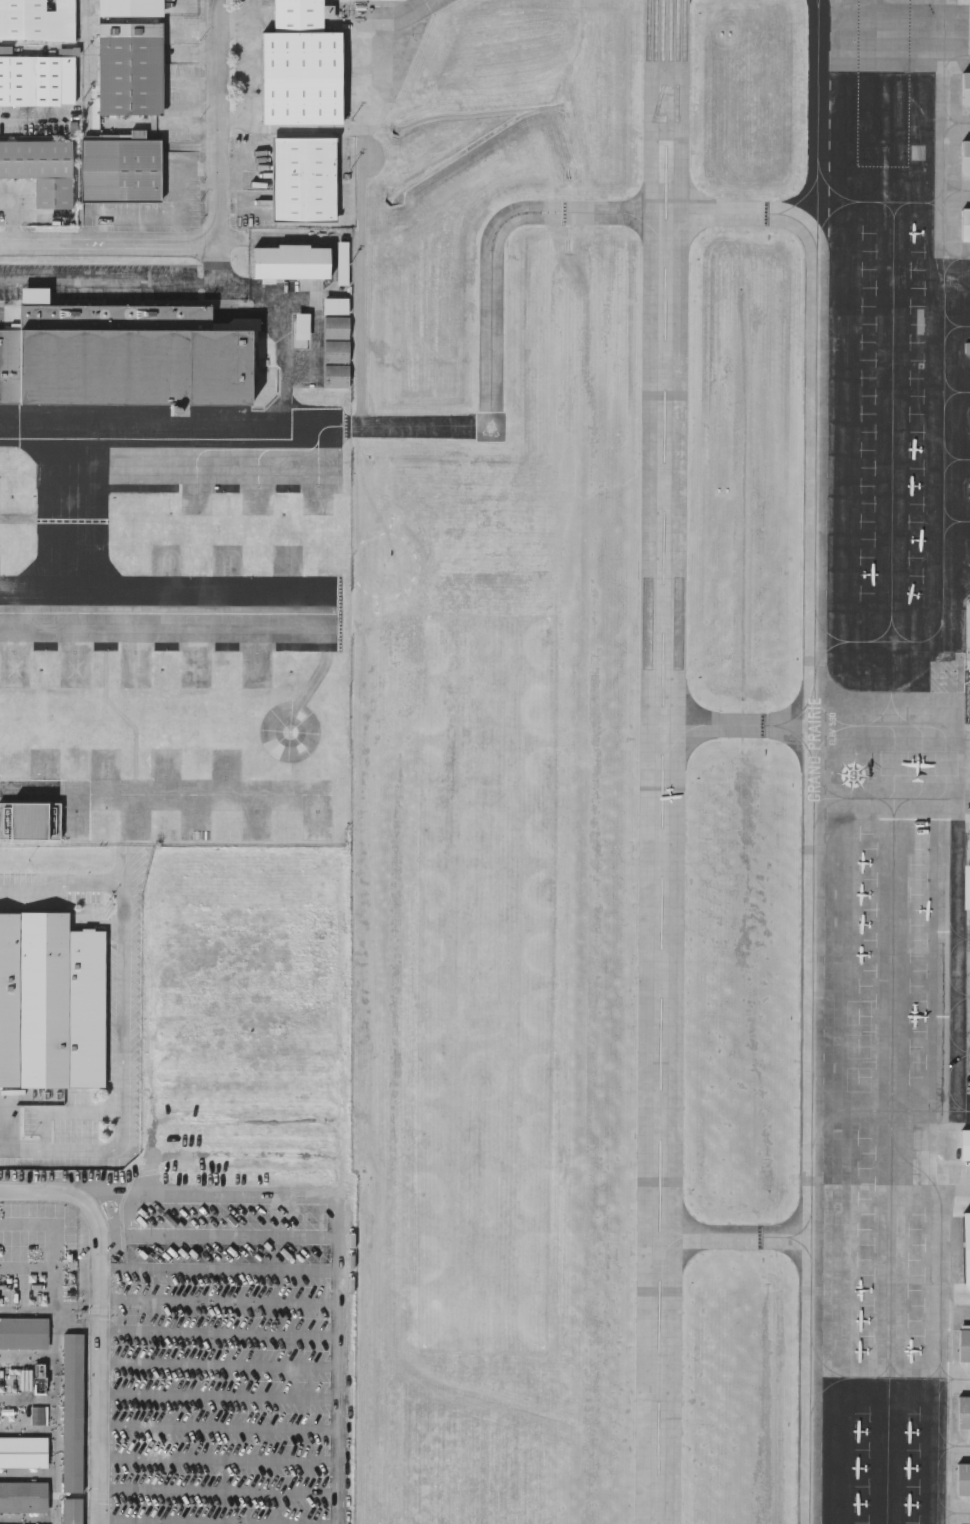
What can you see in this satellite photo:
building: (128, 7)
airport taxiway: (423, 12)
building: (299, 14)
building: (37, 18)
building: (128, 67)
building: (302, 75)
building: (37, 77)
building: (966, 87)
road: (32, 112)
road: (216, 122)
building: (965, 154)
building: (40, 168)
building: (121, 168)
building: (304, 176)
building: (965, 222)
road: (103, 244)
building: (291, 263)
parking lot: (100, 282)
road: (112, 284)
building: (334, 304)
road: (283, 311)
building: (334, 325)
building: (966, 345)
building: (334, 349)
building: (129, 358)
building: (334, 374)
airport taxiway: (456, 428)
building: (969, 622)
helipad: (80, 675)
airport taxiway: (735, 731)
helipad: (296, 743)
airport: (661, 762)
airport runway: (666, 762)
airport apron: (881, 772)
building: (29, 819)
building: (967, 875)
road: (94, 909)
building: (53, 1004)
road: (123, 1017)
road: (66, 1111)
building: (952, 1144)
road: (340, 1230)
airport taxiway: (733, 1235)
building: (965, 1248)
road: (28, 1266)
road: (28, 1311)
road: (103, 1313)
building: (23, 1332)
road: (55, 1344)
building: (963, 1345)
parking lot: (225, 1362)
road: (27, 1410)
building: (963, 1412)
building: (71, 1413)
building: (23, 1451)
building: (962, 1479)
building: (23, 1497)
building: (70, 1511)

